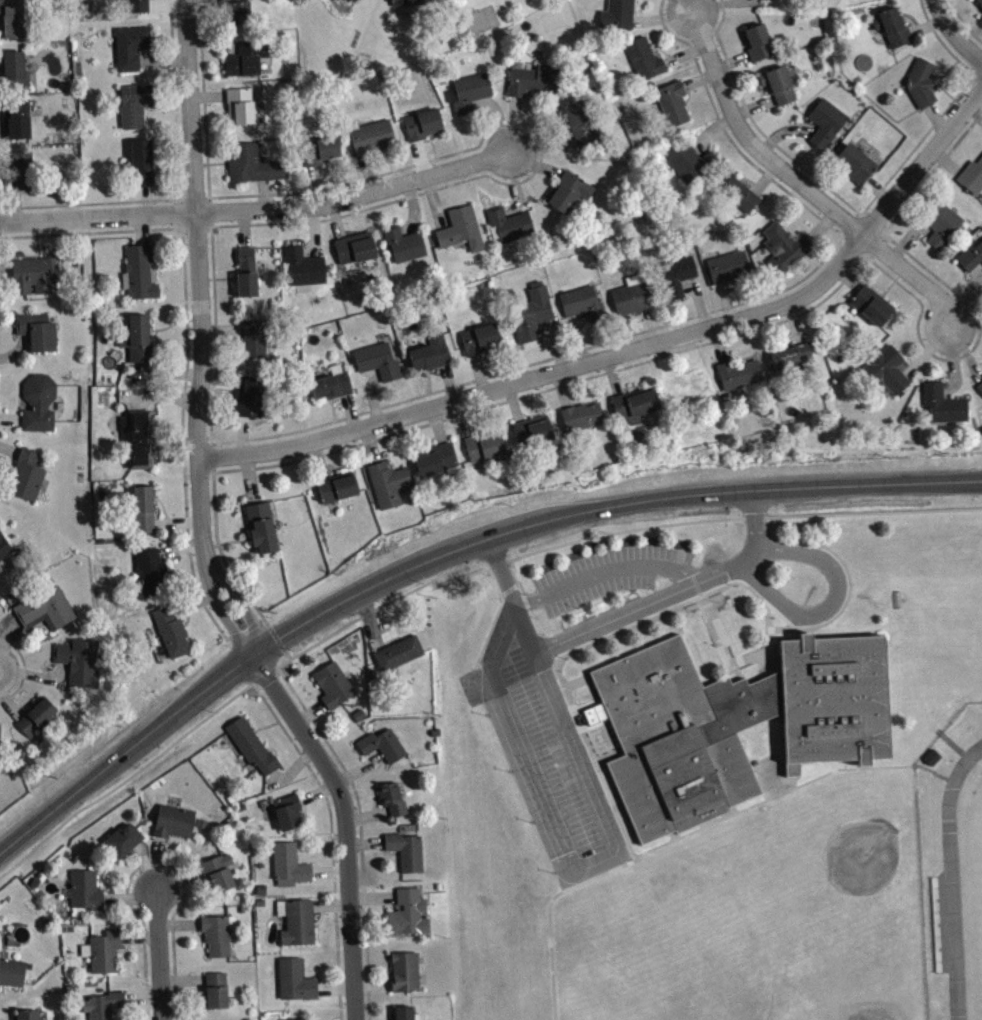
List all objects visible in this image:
building: (352, 0)
building: (475, 0)
building: (770, 1)
building: (339, 2)
building: (408, 2)
building: (979, 2)
building: (134, 6)
building: (237, 11)
building: (616, 14)
building: (10, 18)
road: (964, 22)
building: (891, 26)
road: (955, 34)
building: (756, 41)
building: (129, 46)
building: (245, 57)
building: (643, 57)
building: (13, 68)
building: (530, 79)
building: (919, 82)
building: (776, 83)
building: (469, 91)
building: (671, 101)
building: (137, 102)
building: (238, 105)
building: (21, 116)
building: (580, 122)
building: (823, 122)
building: (421, 123)
building: (370, 136)
building: (318, 149)
building: (689, 160)
building: (141, 161)
building: (852, 162)
building: (250, 163)
building: (19, 169)
building: (971, 176)
road: (179, 188)
road: (804, 189)
building: (566, 191)
building: (736, 193)
road: (259, 212)
road: (860, 212)
building: (507, 223)
building: (939, 223)
building: (460, 228)
building: (402, 242)
building: (783, 247)
building: (352, 248)
building: (970, 255)
building: (302, 265)
building: (727, 266)
building: (137, 272)
building: (245, 272)
building: (33, 273)
building: (676, 275)
building: (632, 294)
building: (582, 302)
building: (870, 304)
building: (529, 312)
building: (36, 330)
road: (203, 333)
road: (728, 336)
building: (251, 337)
building: (477, 337)
building: (135, 338)
road: (186, 349)
building: (429, 351)
road: (635, 352)
building: (791, 355)
building: (377, 360)
road: (216, 362)
building: (885, 371)
building: (737, 373)
building: (331, 383)
building: (685, 384)
building: (979, 386)
building: (980, 393)
building: (250, 396)
building: (37, 402)
building: (633, 403)
building: (941, 403)
building: (580, 415)
building: (532, 430)
building: (137, 437)
building: (483, 444)
building: (436, 459)
building: (25, 475)
building: (387, 482)
building: (335, 486)
building: (138, 507)
building: (260, 527)
road: (755, 532)
building: (4, 546)
road: (447, 555)
building: (0, 567)
parking lot: (608, 569)
building: (151, 571)
road: (719, 575)
road: (605, 577)
road: (833, 599)
road: (255, 605)
building: (43, 607)
road: (524, 627)
building: (170, 631)
building: (78, 659)
building: (400, 659)
road: (22, 668)
building: (336, 691)
building: (34, 715)
building: (732, 722)
building: (1, 745)
building: (253, 751)
building: (385, 751)
parking lot: (550, 762)
building: (395, 805)
building: (290, 818)
road: (350, 824)
building: (176, 828)
road: (690, 834)
building: (125, 846)
road: (613, 856)
building: (409, 857)
building: (291, 872)
building: (220, 879)
track: (954, 879)
park: (847, 887)
building: (87, 897)
building: (411, 919)
building: (299, 928)
building: (220, 942)
road: (159, 957)
building: (107, 958)
building: (12, 978)
building: (407, 978)
park: (627, 983)
building: (297, 987)
park: (837, 993)
building: (218, 997)
building: (104, 1009)
building: (405, 1016)
building: (30, 1018)

